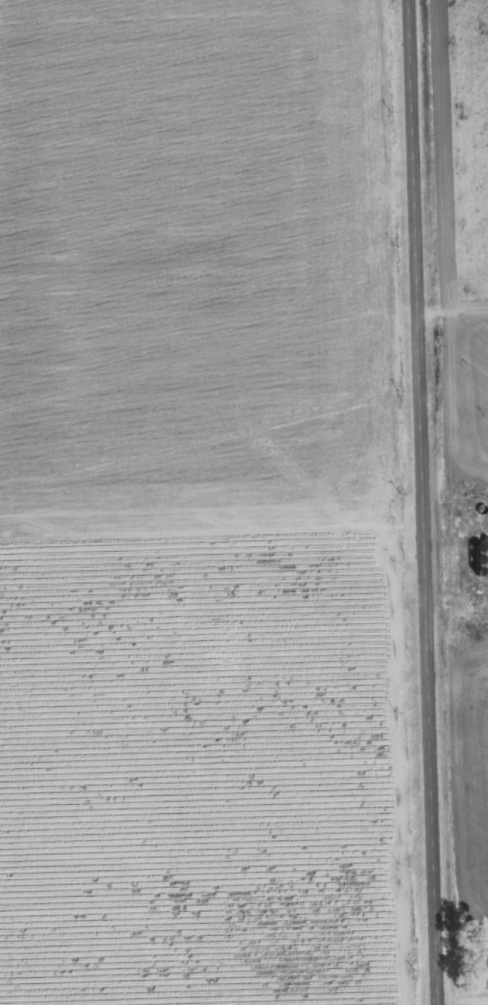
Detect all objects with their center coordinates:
road: (422, 502)
building: (459, 516)
road: (211, 546)

